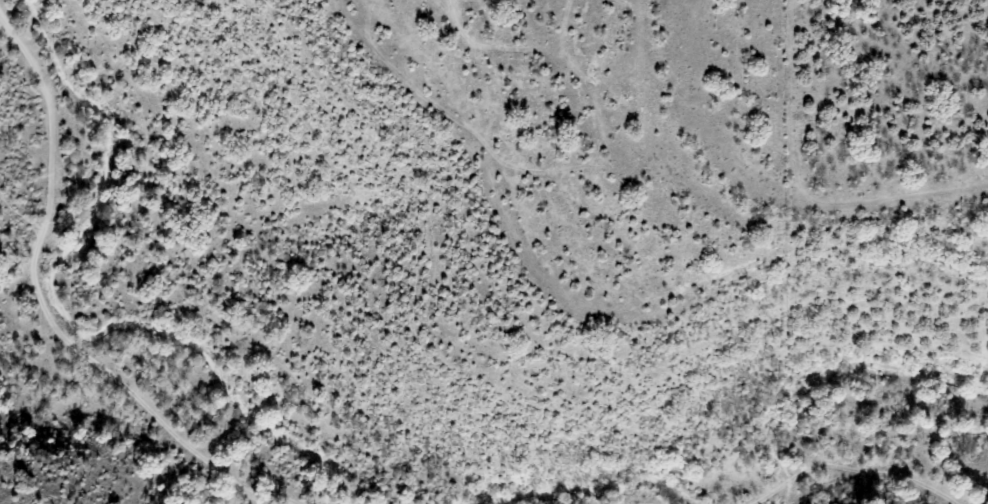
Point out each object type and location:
road: (25, 345)

